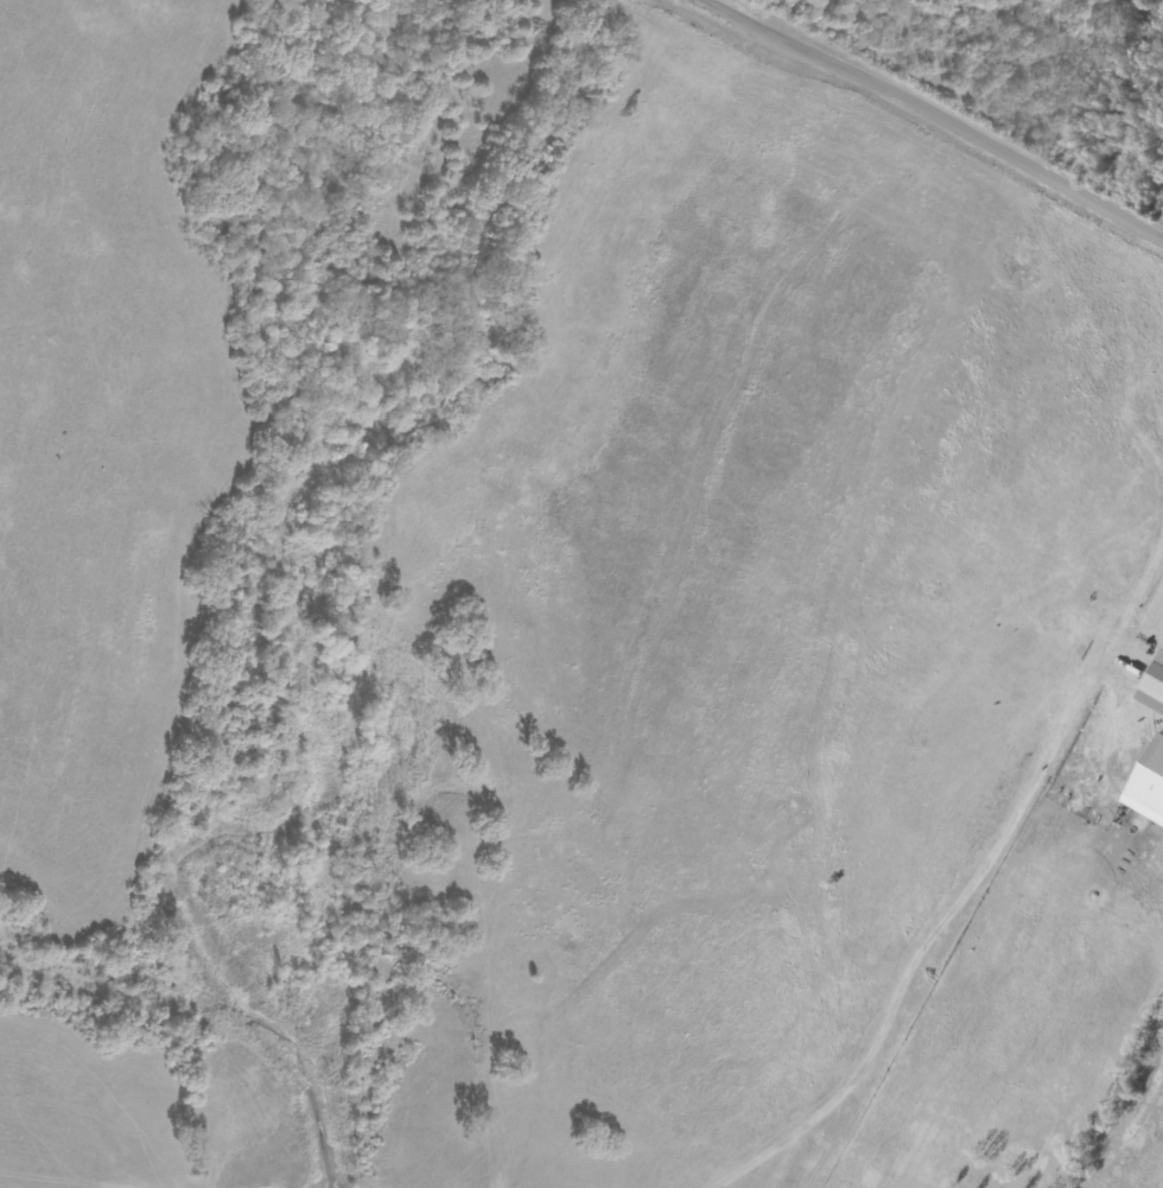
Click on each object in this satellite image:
road: (943, 122)
building: (1151, 685)
building: (1146, 782)
road: (948, 876)

